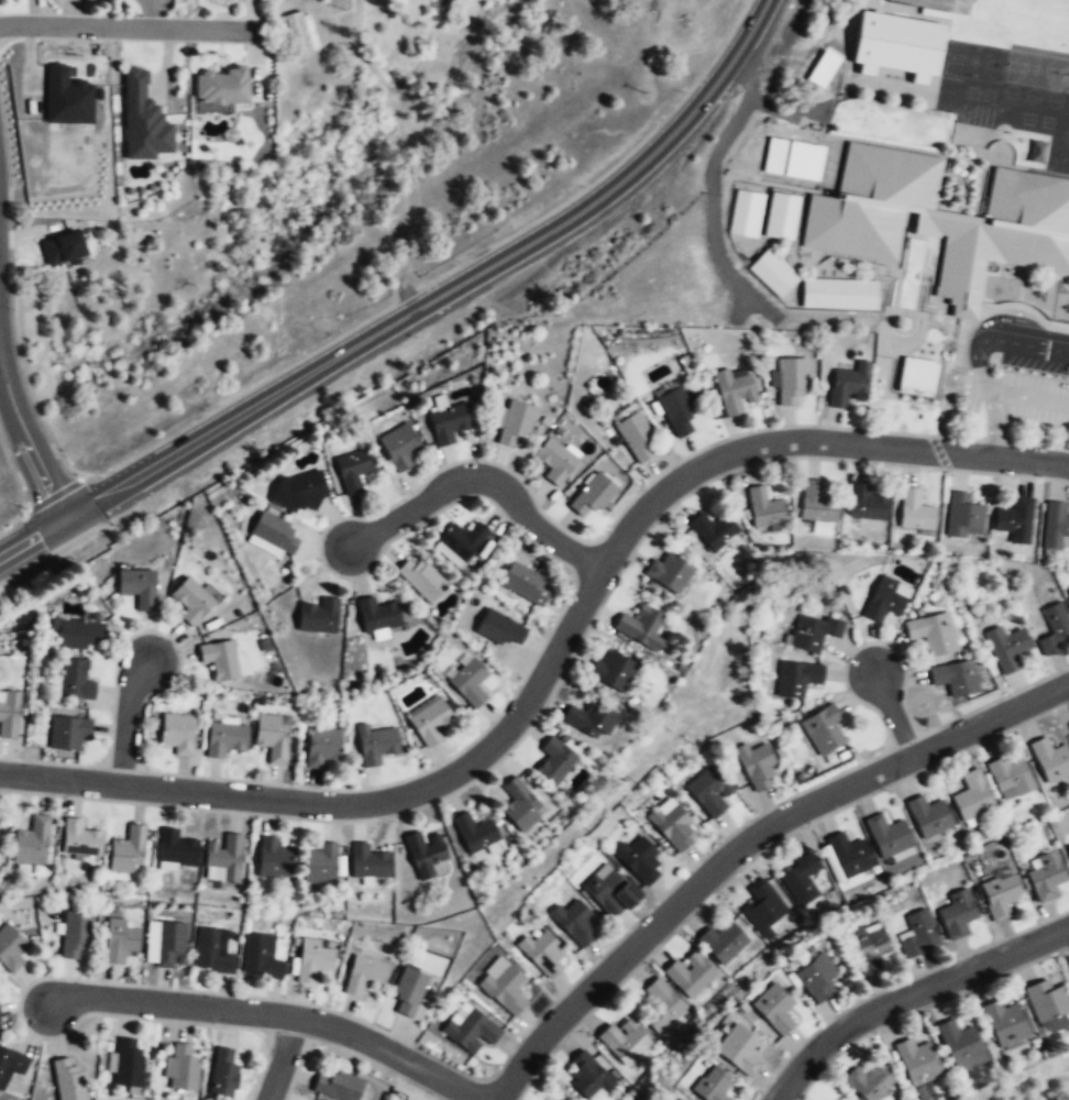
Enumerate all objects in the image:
road: (129, 28)
building: (298, 33)
building: (894, 43)
park: (973, 63)
building: (824, 68)
park: (1034, 71)
park: (1067, 82)
building: (222, 88)
building: (67, 97)
building: (143, 120)
building: (774, 156)
building: (801, 165)
building: (746, 212)
building: (781, 216)
building: (939, 219)
building: (63, 248)
building: (773, 273)
road: (459, 283)
building: (839, 296)
road: (970, 351)
road: (1033, 352)
building: (915, 376)
building: (791, 383)
building: (847, 385)
building: (734, 391)
road: (992, 395)
road: (1031, 399)
building: (676, 411)
building: (448, 424)
building: (515, 426)
street lamp: (969, 435)
building: (636, 437)
road: (811, 439)
road: (29, 442)
building: (400, 449)
building: (554, 462)
street lamp: (782, 462)
building: (352, 472)
wastewater plant: (0, 476)
road: (481, 477)
building: (298, 492)
building: (591, 496)
building: (816, 505)
building: (868, 506)
building: (765, 508)
building: (914, 512)
building: (963, 517)
road: (65, 520)
building: (1015, 520)
building: (1055, 526)
street lamp: (604, 530)
building: (715, 531)
building: (274, 533)
building: (462, 541)
road: (18, 548)
building: (669, 573)
building: (420, 580)
street lamp: (352, 582)
building: (524, 584)
building: (136, 587)
building: (191, 601)
building: (885, 601)
building: (319, 615)
building: (377, 616)
building: (640, 628)
building: (1055, 628)
building: (502, 630)
building: (812, 632)
building: (79, 635)
building: (933, 635)
building: (1006, 649)
building: (219, 660)
building: (613, 671)
street lamp: (1048, 671)
building: (955, 679)
building: (797, 680)
building: (75, 681)
building: (467, 684)
road: (893, 714)
building: (9, 715)
road: (126, 717)
road: (991, 718)
building: (589, 721)
building: (429, 722)
street lamp: (538, 723)
building: (822, 732)
building: (67, 734)
building: (177, 734)
building: (272, 738)
building: (225, 740)
building: (374, 745)
building: (322, 748)
building: (1050, 759)
building: (554, 762)
street lamp: (157, 769)
building: (759, 769)
building: (1009, 778)
road: (59, 779)
building: (709, 790)
street lamp: (888, 790)
road: (415, 791)
building: (972, 798)
building: (520, 806)
building: (928, 817)
street lamp: (387, 821)
building: (672, 827)
building: (474, 835)
building: (888, 837)
building: (77, 838)
building: (32, 842)
street lamp: (714, 844)
building: (174, 849)
building: (1068, 850)
building: (128, 851)
building: (426, 855)
building: (849, 857)
building: (223, 859)
building: (272, 859)
building: (641, 862)
building: (367, 864)
building: (318, 865)
building: (1046, 877)
building: (801, 882)
building: (609, 892)
building: (1000, 897)
road: (681, 898)
building: (763, 909)
building: (957, 915)
street lamp: (1038, 921)
building: (576, 925)
building: (75, 936)
building: (917, 936)
building: (118, 942)
building: (721, 944)
building: (168, 946)
building: (10, 949)
building: (212, 952)
building: (543, 953)
building: (869, 953)
building: (260, 957)
building: (313, 959)
building: (364, 976)
building: (690, 977)
building: (817, 980)
building: (503, 986)
building: (407, 993)
street lamp: (16, 994)
road: (910, 997)
street lamp: (608, 998)
road: (170, 1002)
building: (1049, 1005)
street lamp: (331, 1007)
building: (661, 1008)
building: (773, 1011)
street lamp: (155, 1023)
building: (1004, 1024)
building: (470, 1028)
building: (624, 1042)
building: (961, 1047)
road: (389, 1050)
building: (738, 1052)
road: (280, 1057)
building: (918, 1064)
building: (128, 1065)
building: (10, 1066)
building: (181, 1074)
street lamp: (816, 1075)
building: (223, 1076)
building: (67, 1079)
building: (588, 1079)
building: (869, 1085)
building: (338, 1086)
building: (709, 1086)
building: (680, 1099)

